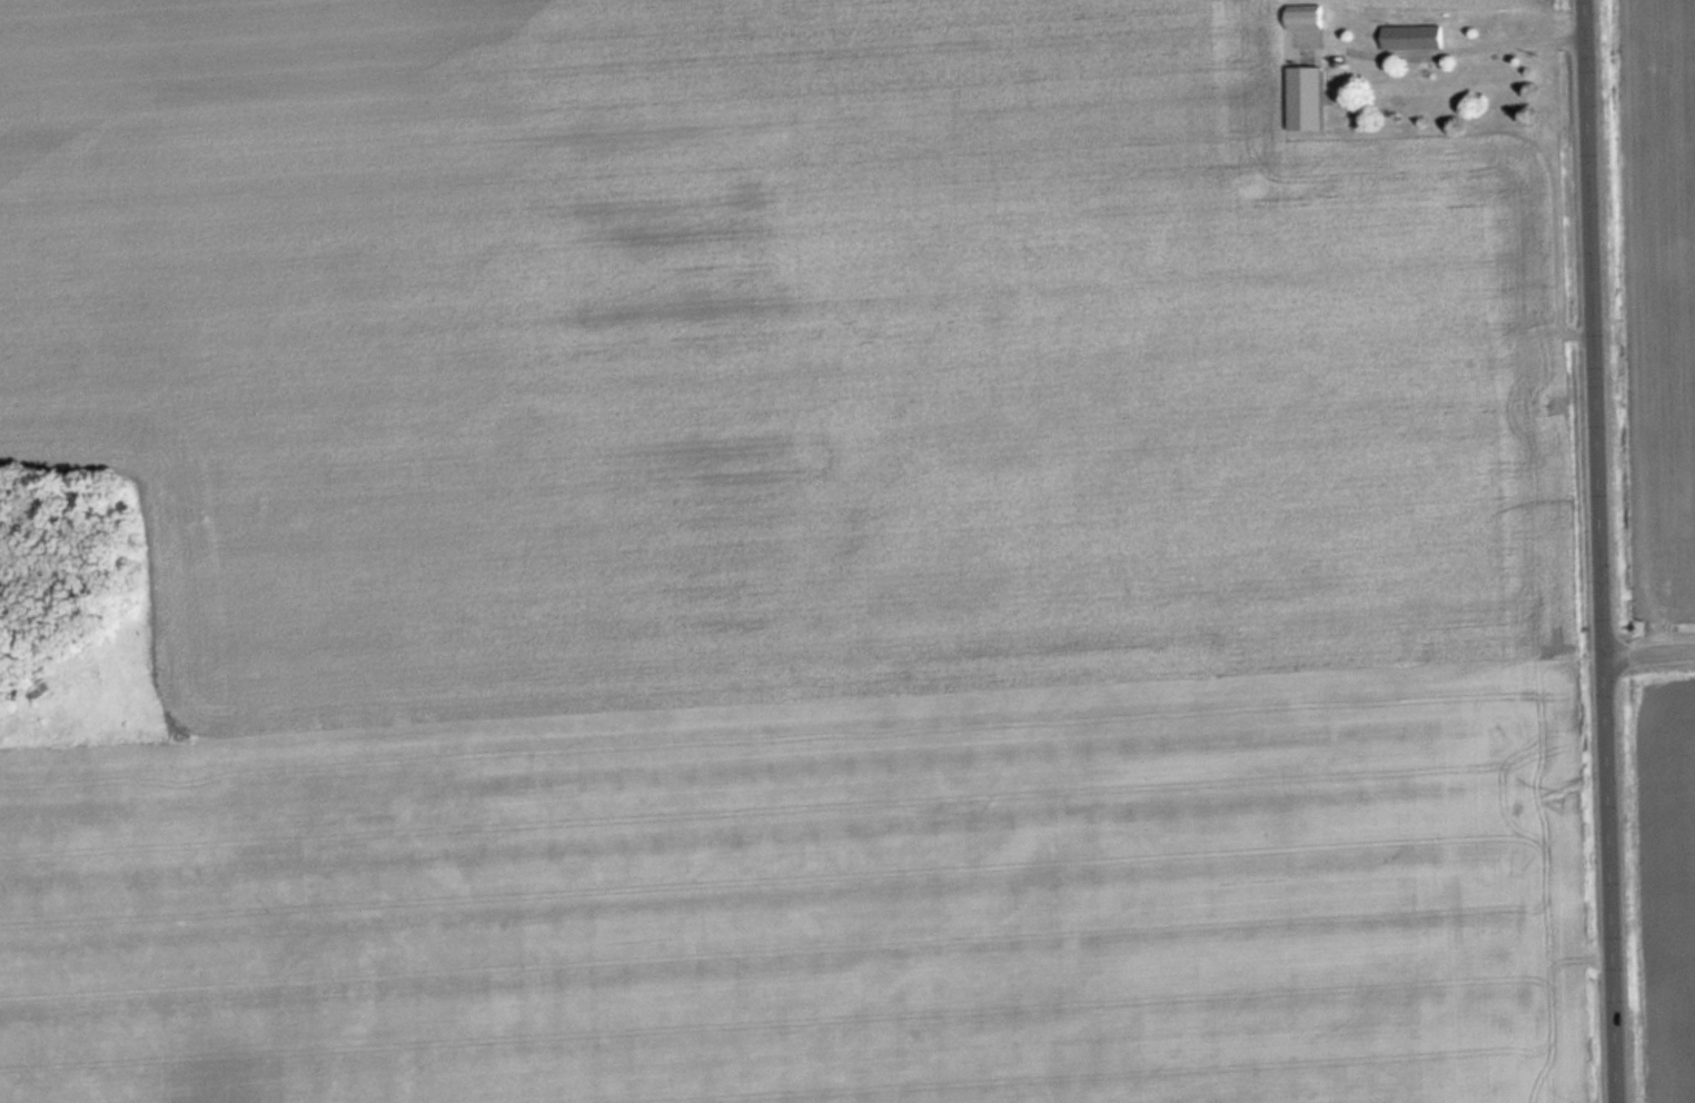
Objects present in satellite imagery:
building: (1310, 18)
building: (1412, 38)
building: (1311, 100)
road: (1608, 551)
road: (1653, 652)

